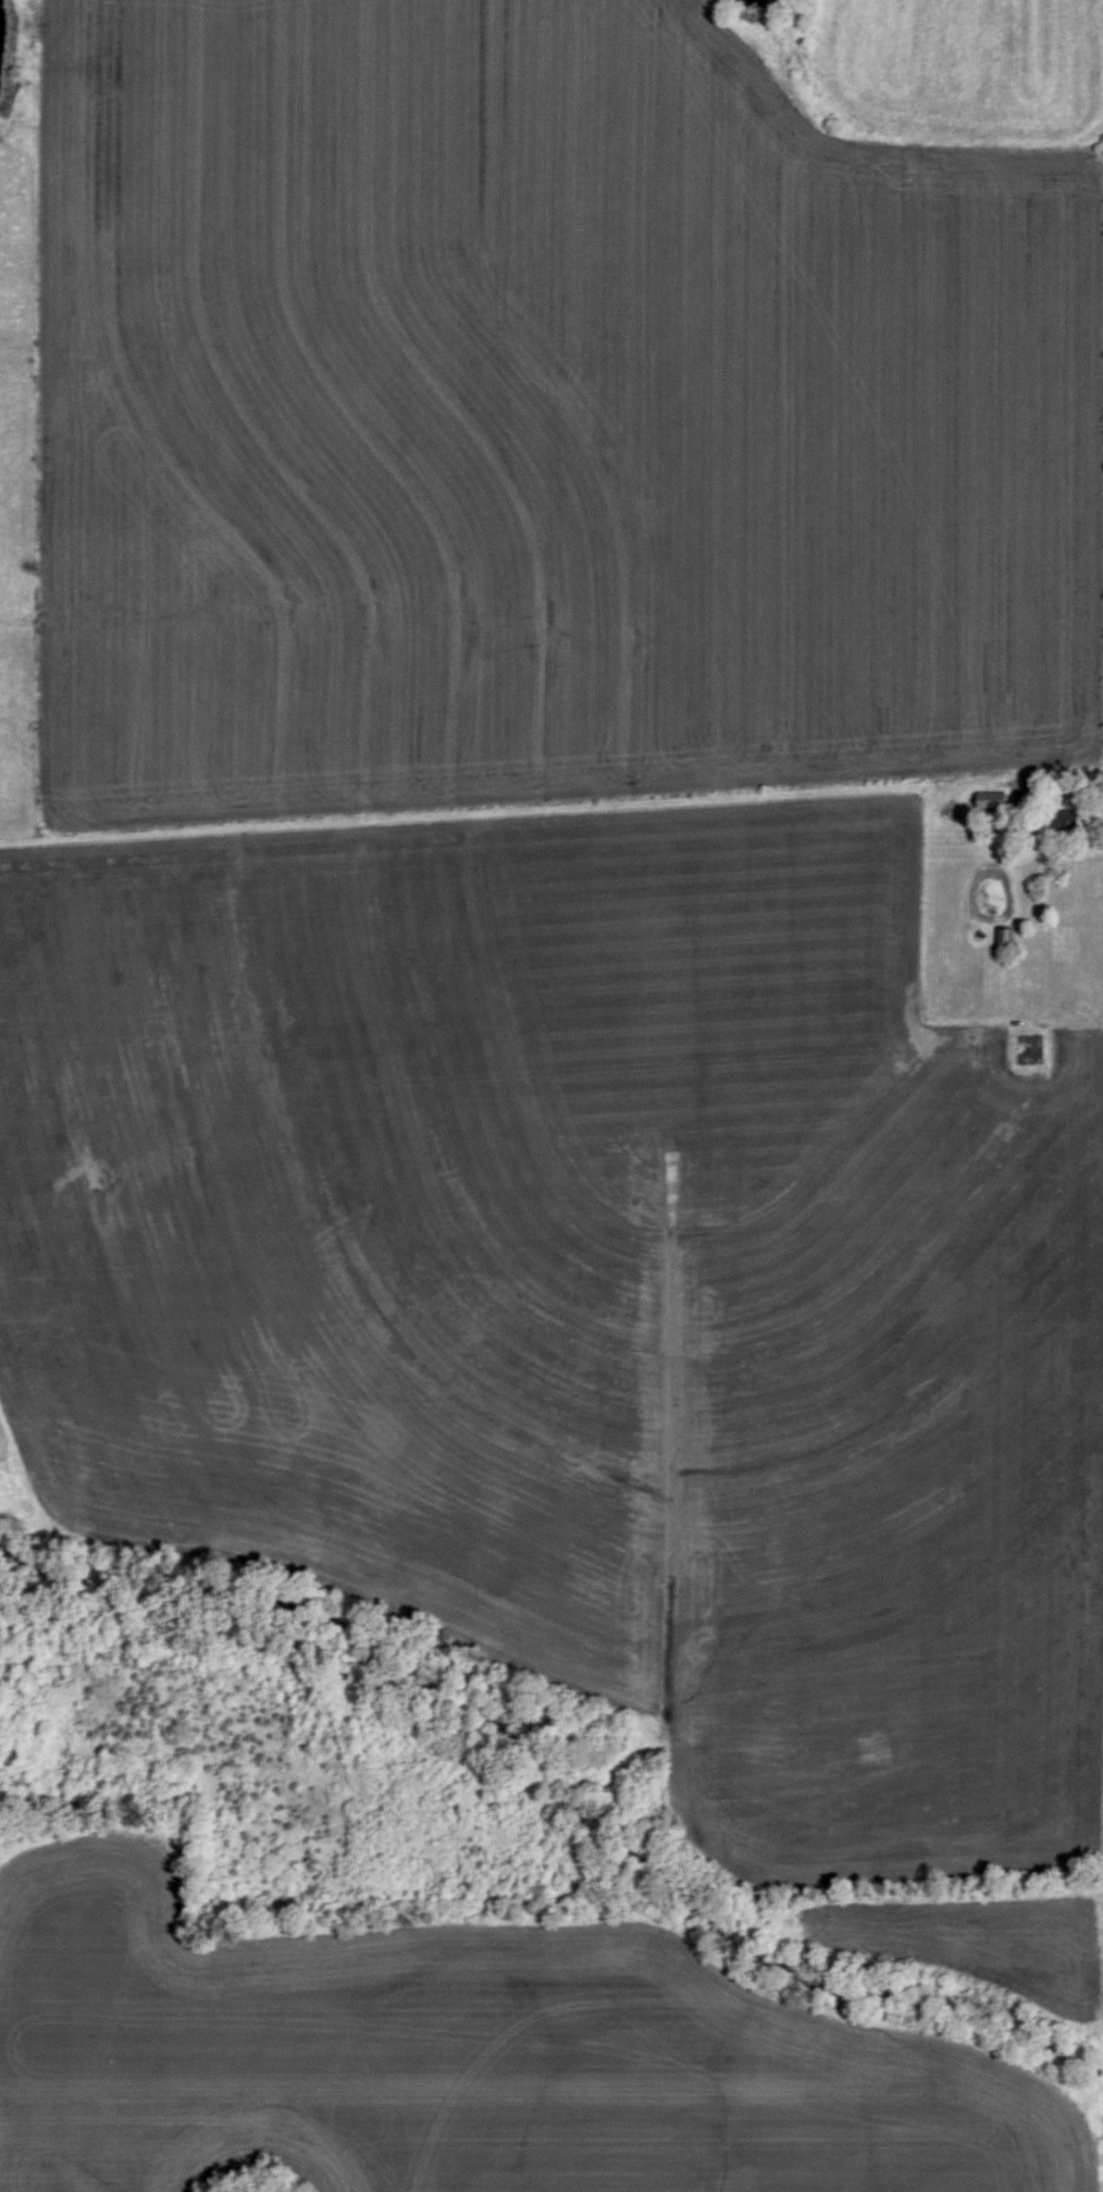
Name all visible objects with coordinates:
road: (1043, 785)
building: (991, 802)
building: (1058, 822)
building: (1004, 941)
building: (1027, 1052)

